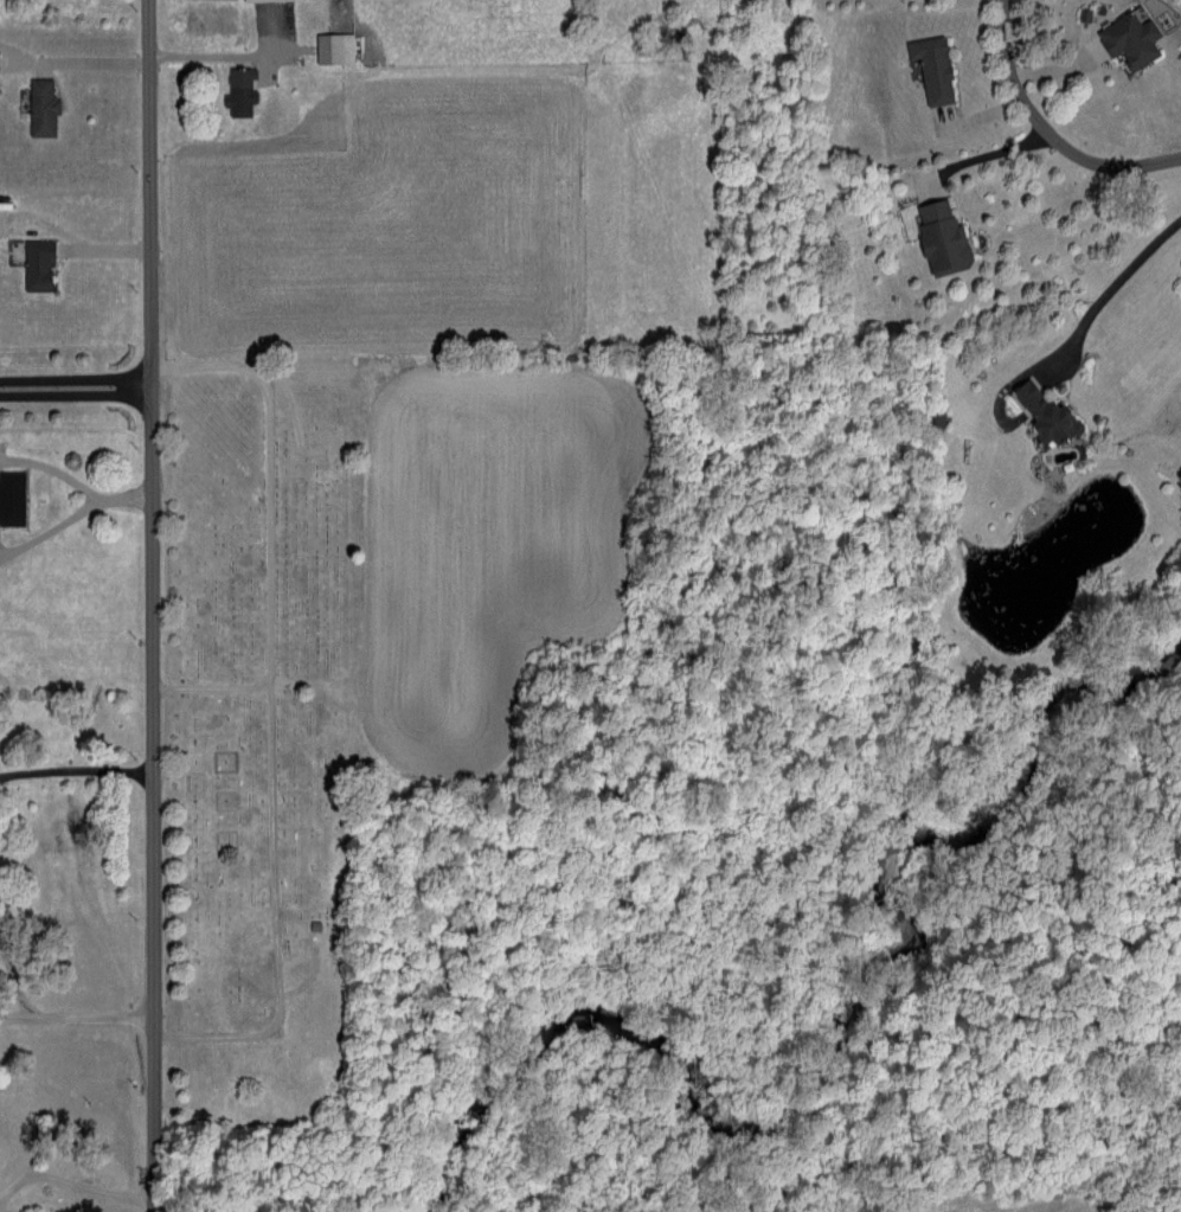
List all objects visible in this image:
building: (1125, 38)
building: (329, 45)
road: (154, 54)
building: (929, 65)
building: (235, 89)
building: (38, 105)
road: (1050, 133)
road: (977, 153)
building: (937, 235)
building: (33, 262)
road: (1109, 288)
road: (73, 383)
building: (1039, 411)
building: (9, 496)
road: (71, 512)
road: (149, 605)
park: (261, 735)
road: (73, 765)
road: (18, 988)
road: (75, 1013)
road: (73, 1181)

